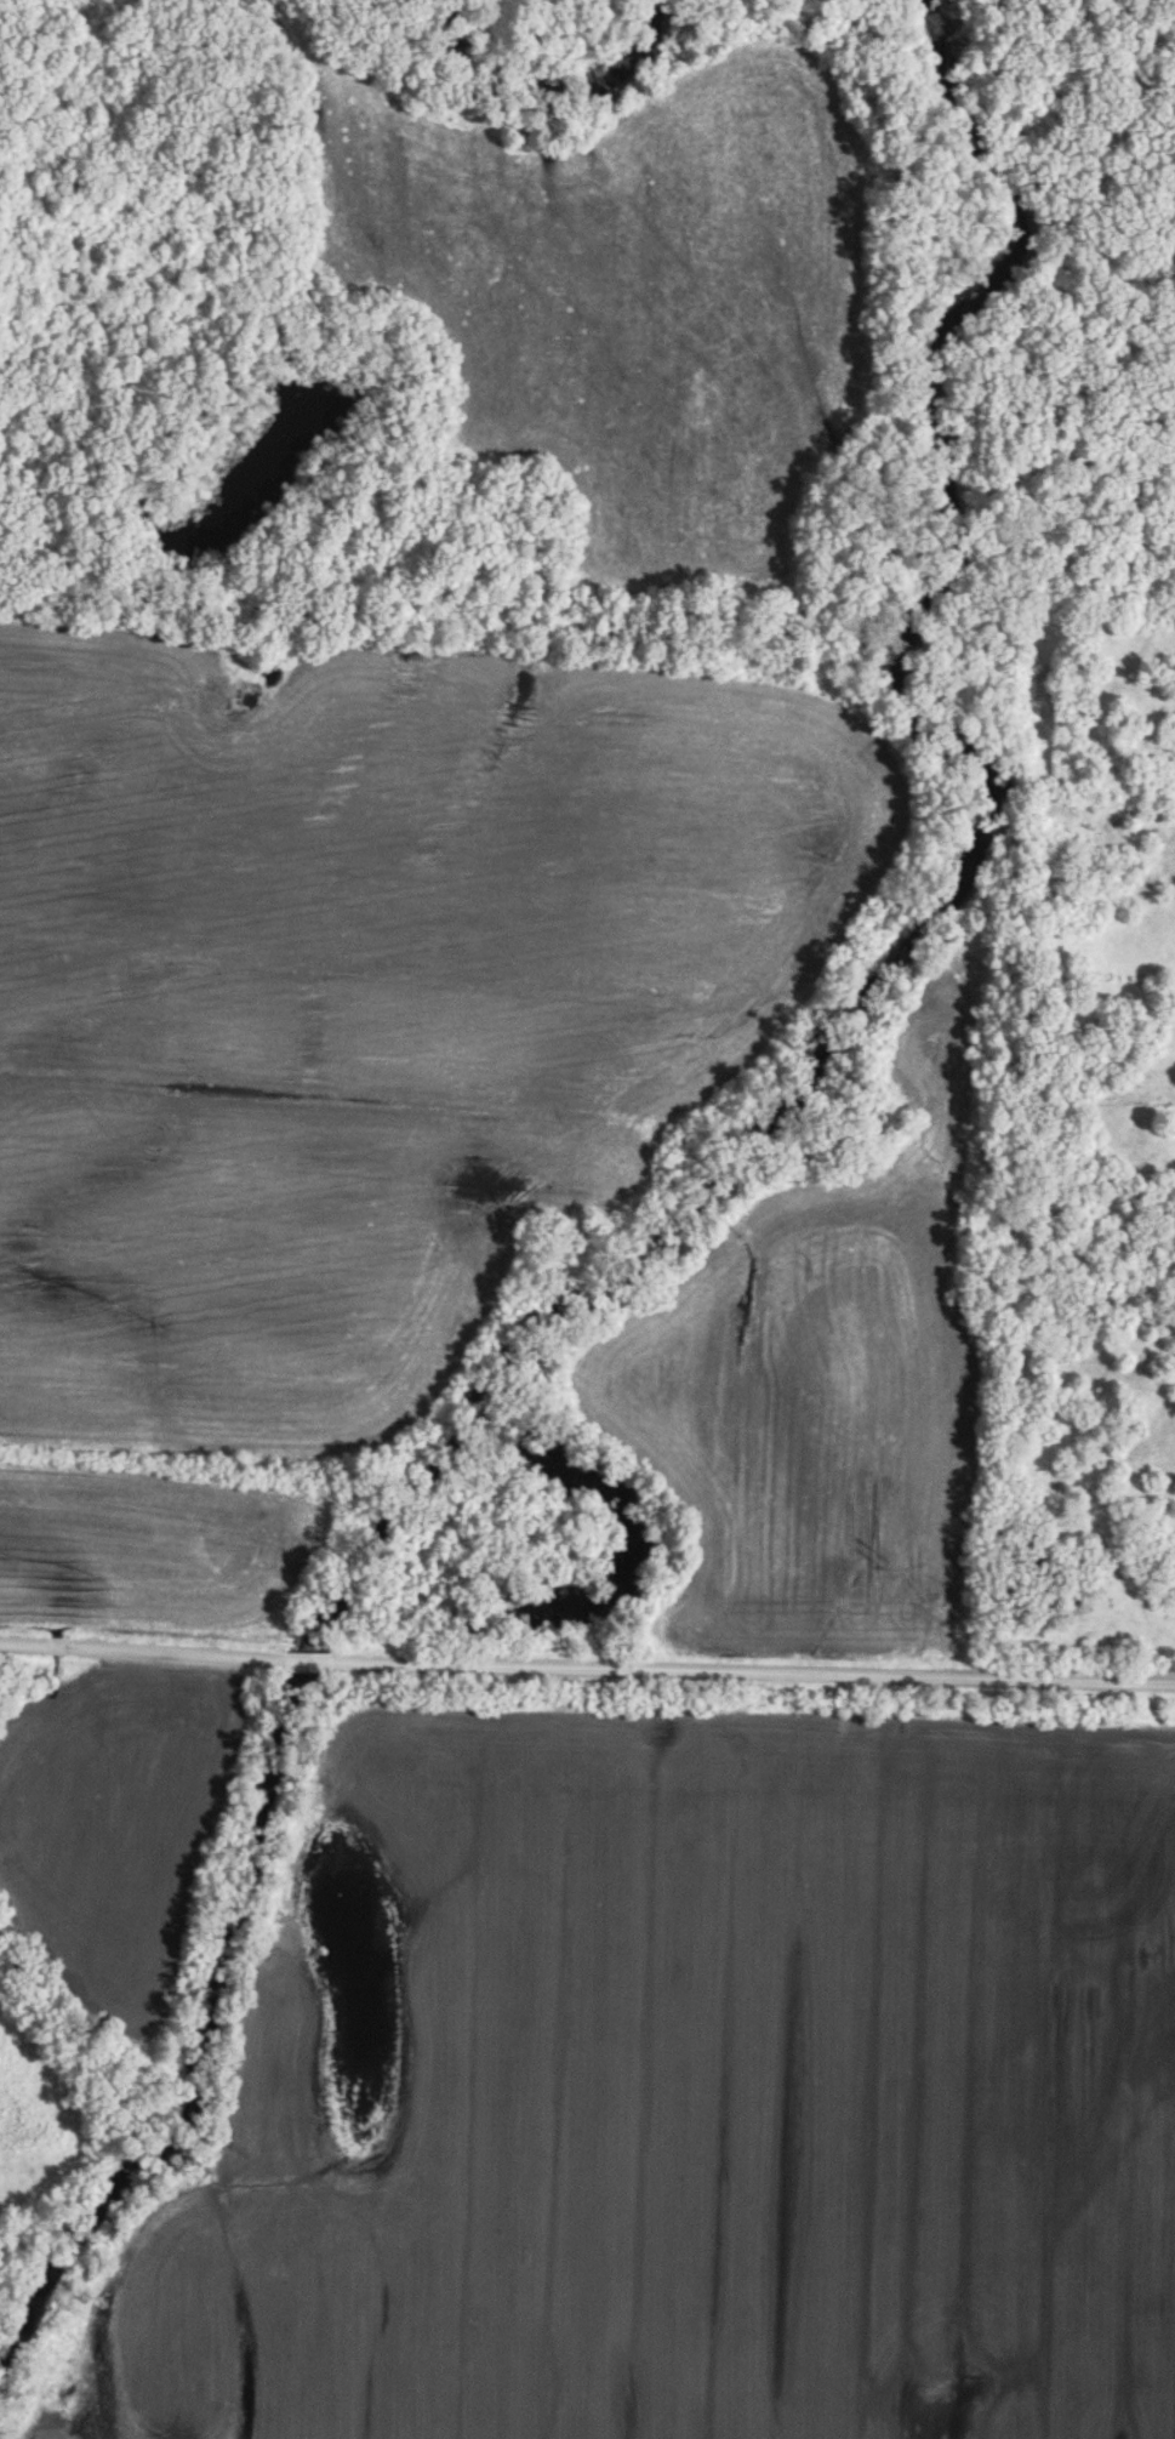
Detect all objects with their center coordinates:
road: (587, 1674)

